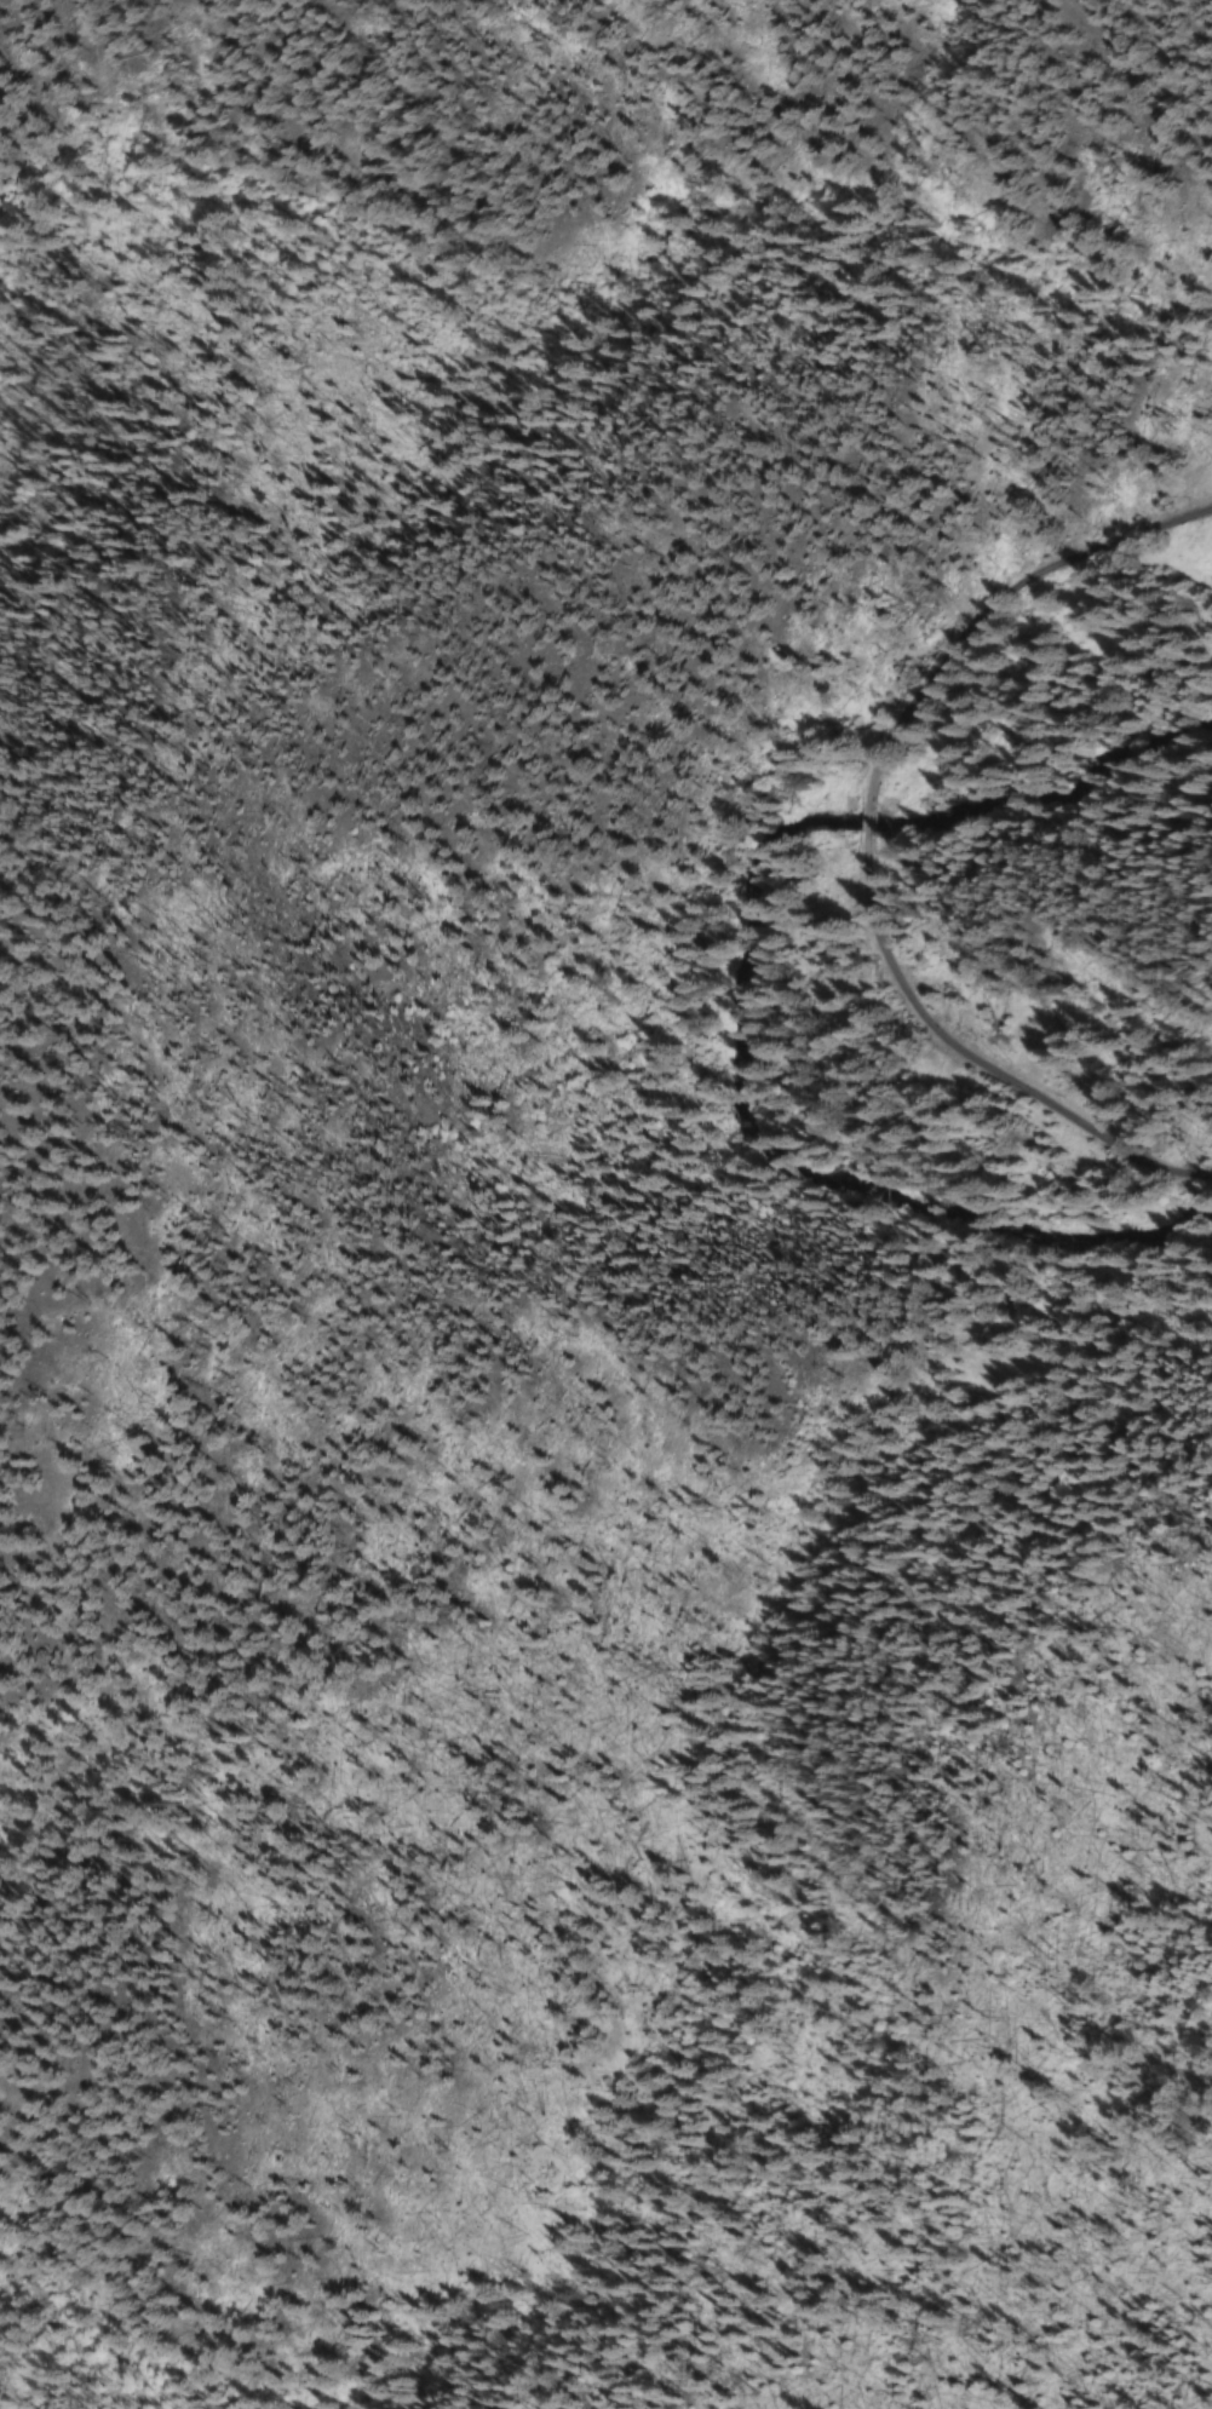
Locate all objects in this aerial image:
road: (999, 596)
road: (868, 823)
river: (728, 997)
road: (988, 1060)

